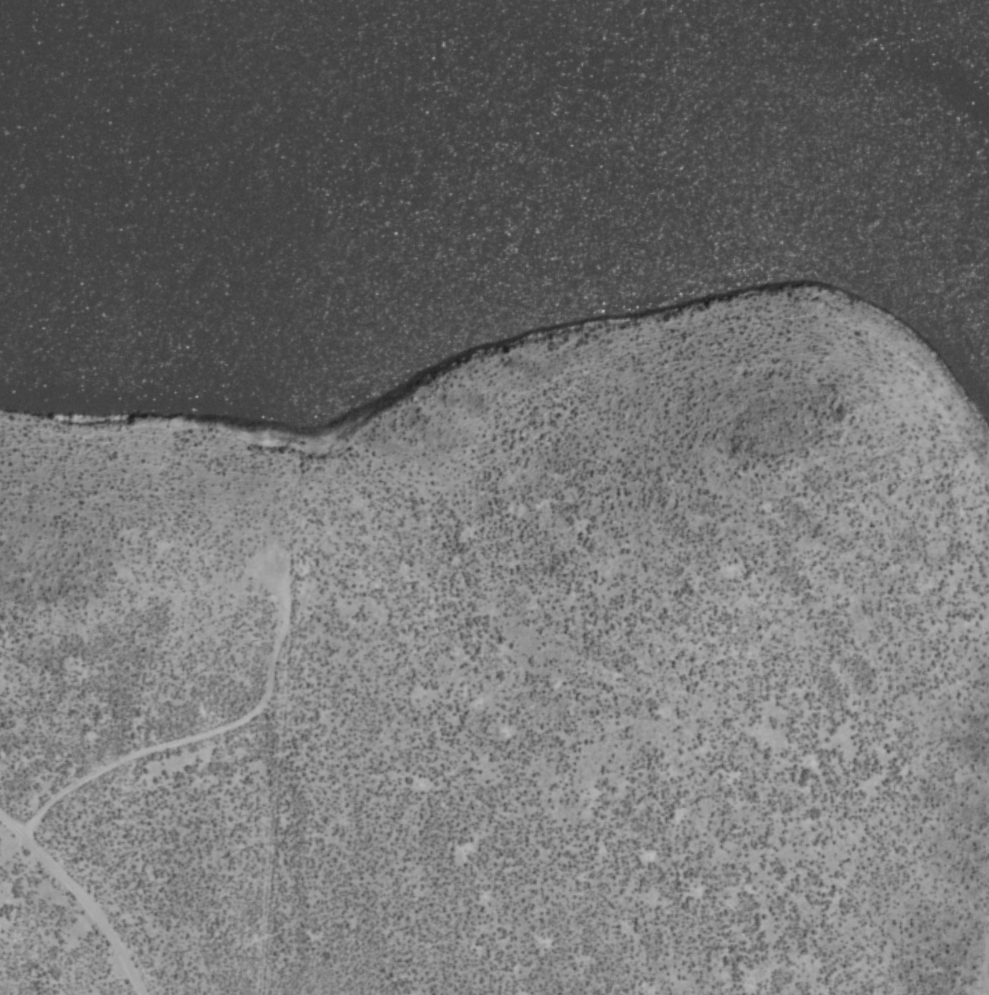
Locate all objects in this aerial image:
road: (197, 732)
road: (78, 898)

